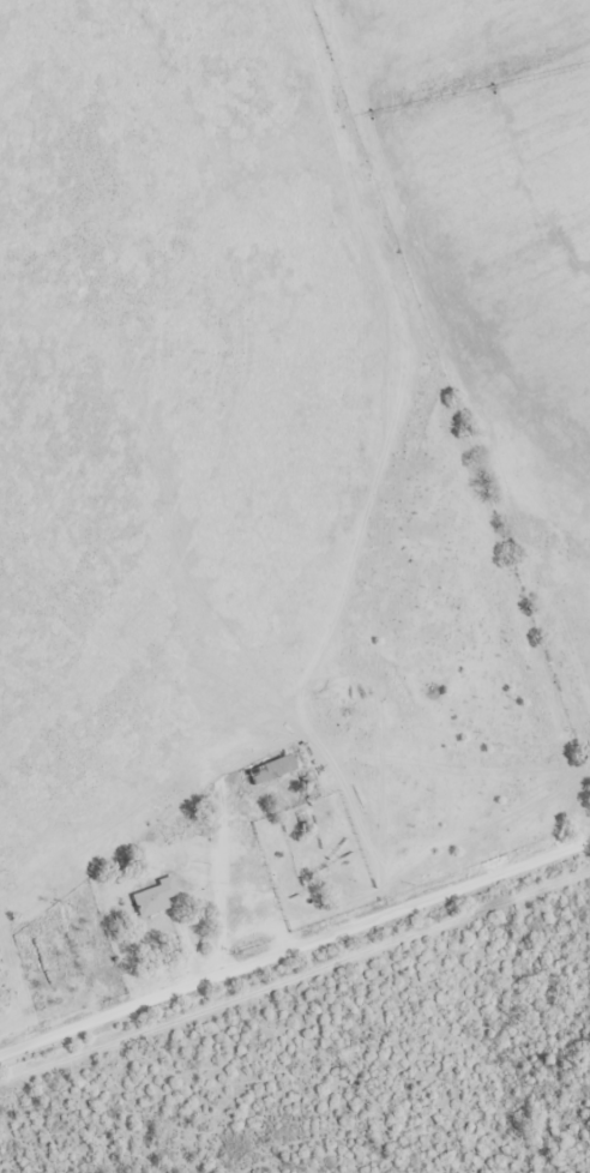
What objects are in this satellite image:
building: (267, 770)
building: (151, 897)
road: (294, 946)

